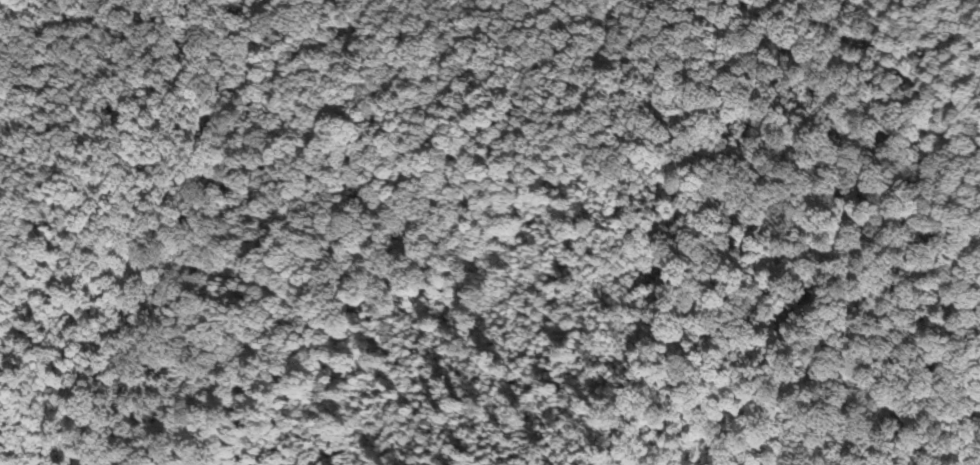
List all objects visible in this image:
road: (387, 174)

